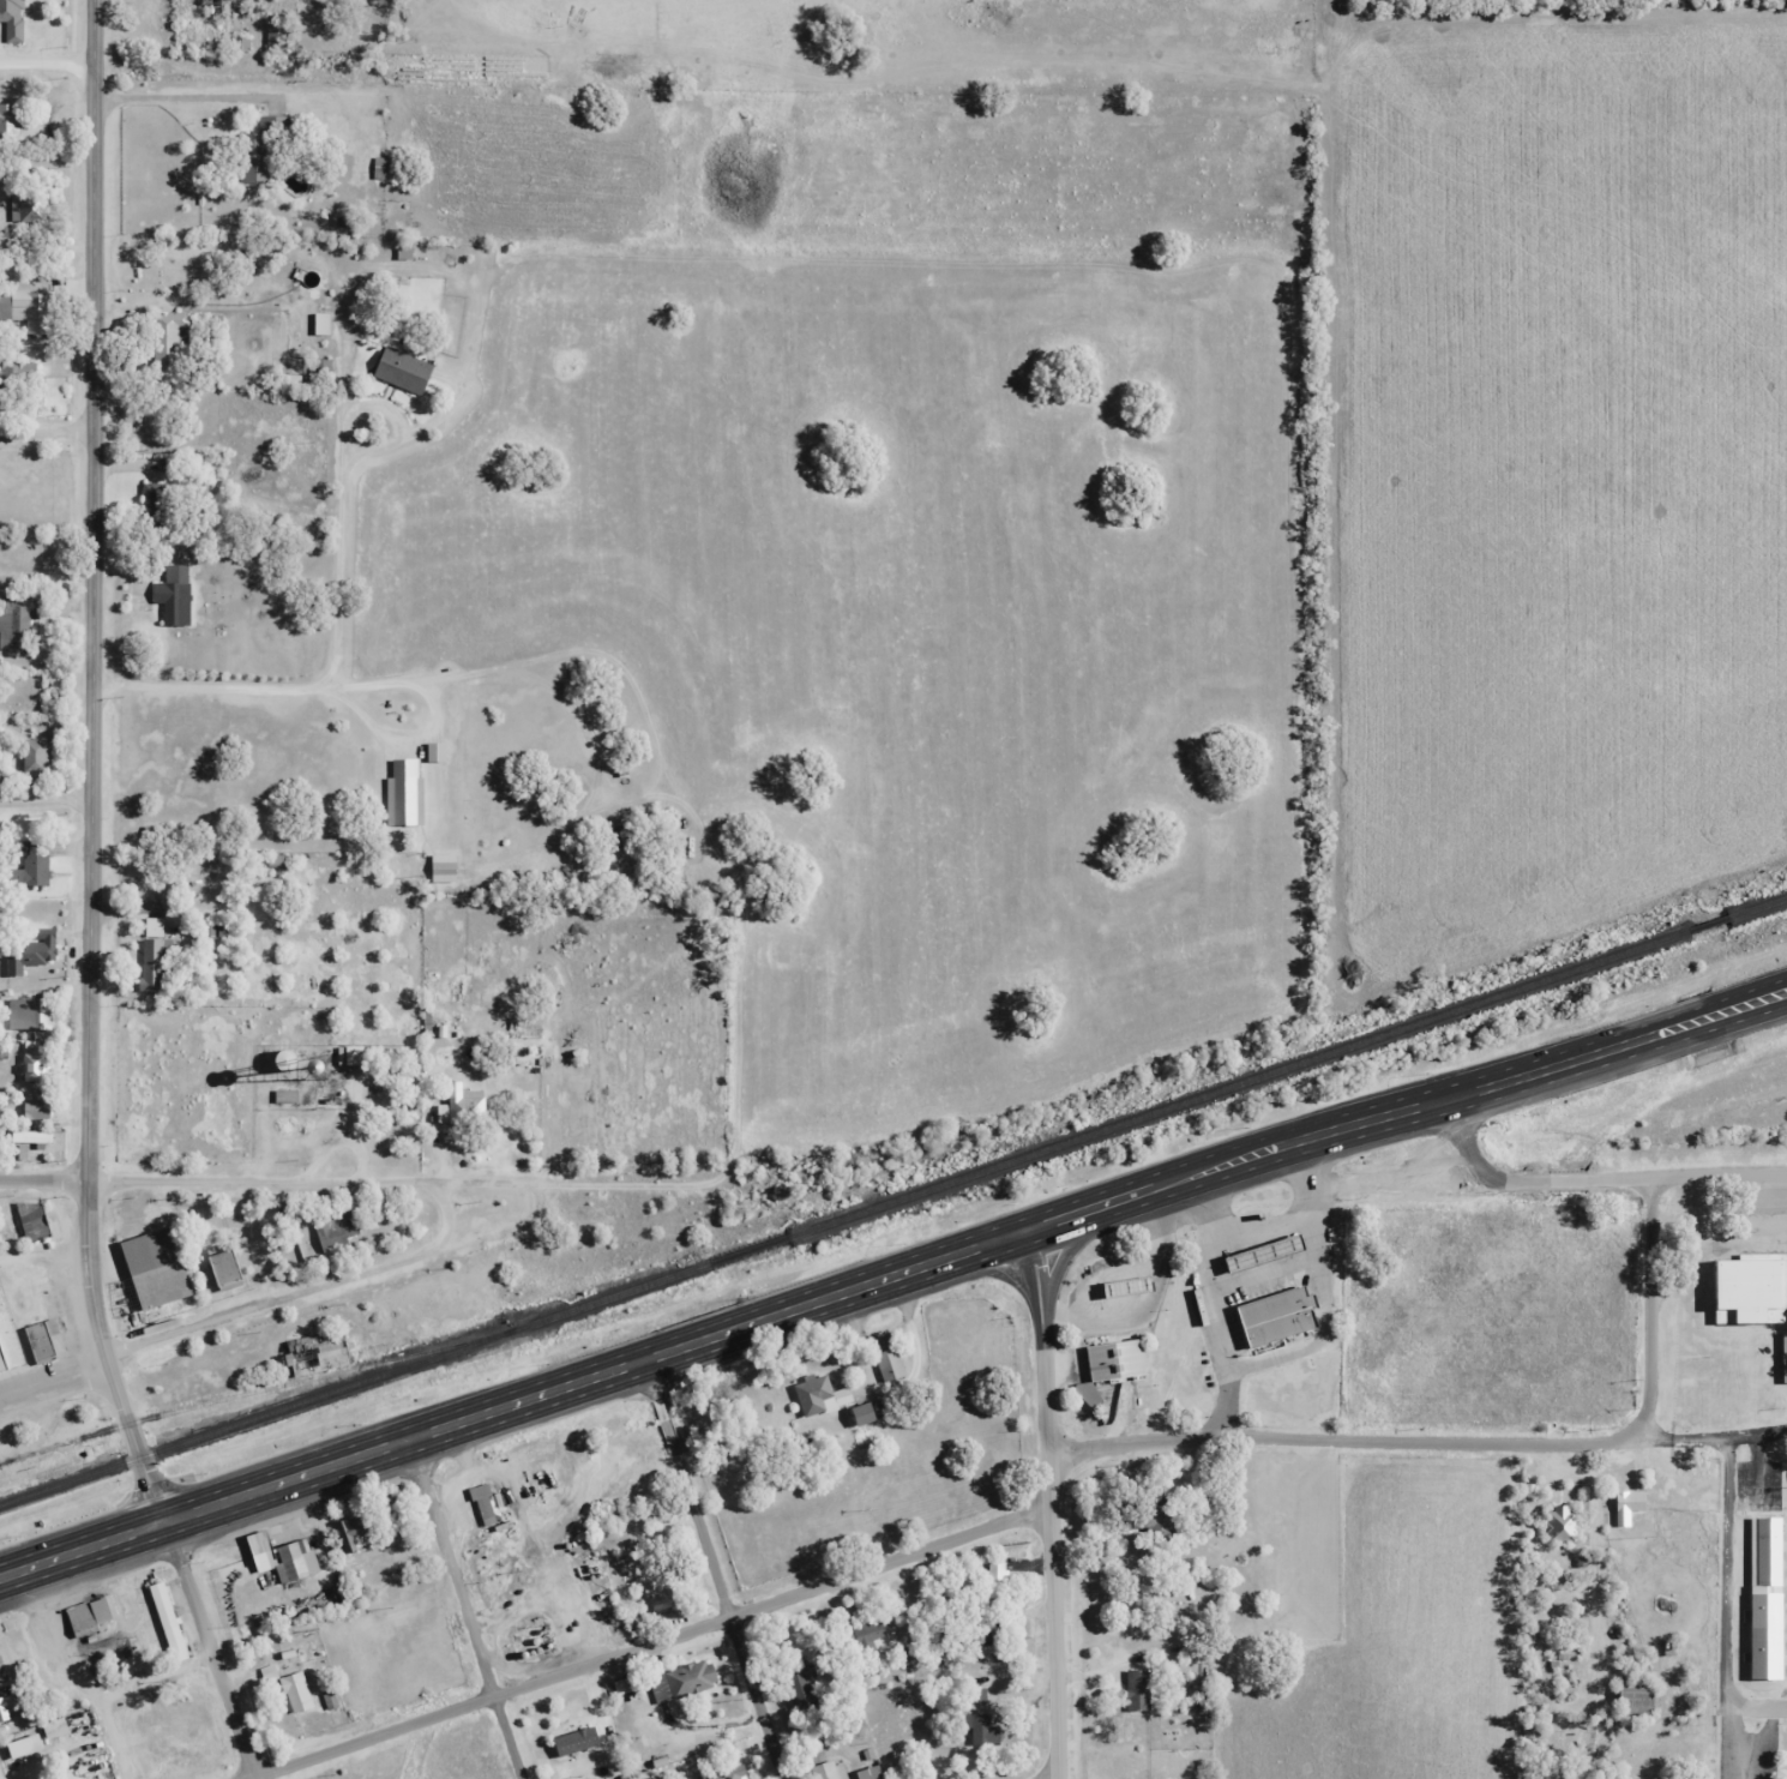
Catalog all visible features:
building: (11, 22)
road: (48, 59)
road: (186, 96)
building: (11, 118)
building: (253, 157)
building: (379, 167)
building: (26, 209)
building: (28, 309)
building: (170, 339)
building: (402, 369)
building: (25, 371)
road: (47, 432)
building: (156, 501)
road: (94, 590)
building: (173, 595)
building: (37, 753)
road: (46, 800)
building: (404, 800)
building: (34, 869)
building: (31, 951)
building: (152, 964)
road: (1697, 1006)
building: (25, 1011)
road: (1702, 1034)
building: (1723, 1051)
building: (34, 1060)
railway: (1288, 1065)
road: (1535, 1074)
building: (459, 1104)
building: (35, 1108)
building: (30, 1136)
road: (1595, 1178)
road: (44, 1180)
road: (317, 1180)
road: (452, 1214)
building: (22, 1219)
building: (338, 1227)
railway: (751, 1249)
building: (1274, 1250)
gas station: (1274, 1250)
building: (222, 1266)
building: (151, 1270)
building: (1126, 1286)
building: (1755, 1290)
road: (282, 1299)
building: (1288, 1317)
road: (1650, 1317)
road: (726, 1330)
building: (41, 1338)
road: (107, 1354)
building: (1783, 1356)
building: (318, 1359)
building: (1, 1363)
building: (899, 1363)
building: (1109, 1365)
railway: (355, 1382)
railway: (257, 1389)
building: (830, 1393)
building: (1722, 1402)
building: (876, 1411)
building: (861, 1412)
road: (1701, 1437)
road: (1331, 1441)
building: (483, 1503)
road: (1051, 1503)
building: (1624, 1505)
building: (1157, 1521)
building: (1559, 1522)
building: (356, 1533)
building: (260, 1550)
building: (291, 1561)
road: (712, 1569)
building: (660, 1593)
building: (1773, 1595)
road: (1729, 1603)
road: (469, 1609)
building: (80, 1617)
building: (168, 1621)
building: (866, 1635)
road: (650, 1643)
road: (212, 1649)
building: (291, 1655)
building: (681, 1681)
building: (800, 1684)
building: (1137, 1689)
building: (295, 1691)
building: (7, 1707)
building: (54, 1729)
building: (982, 1729)
building: (23, 1745)
building: (829, 1769)
building: (870, 1772)
building: (729, 1773)
building: (90, 1778)
road: (1057, 1778)

